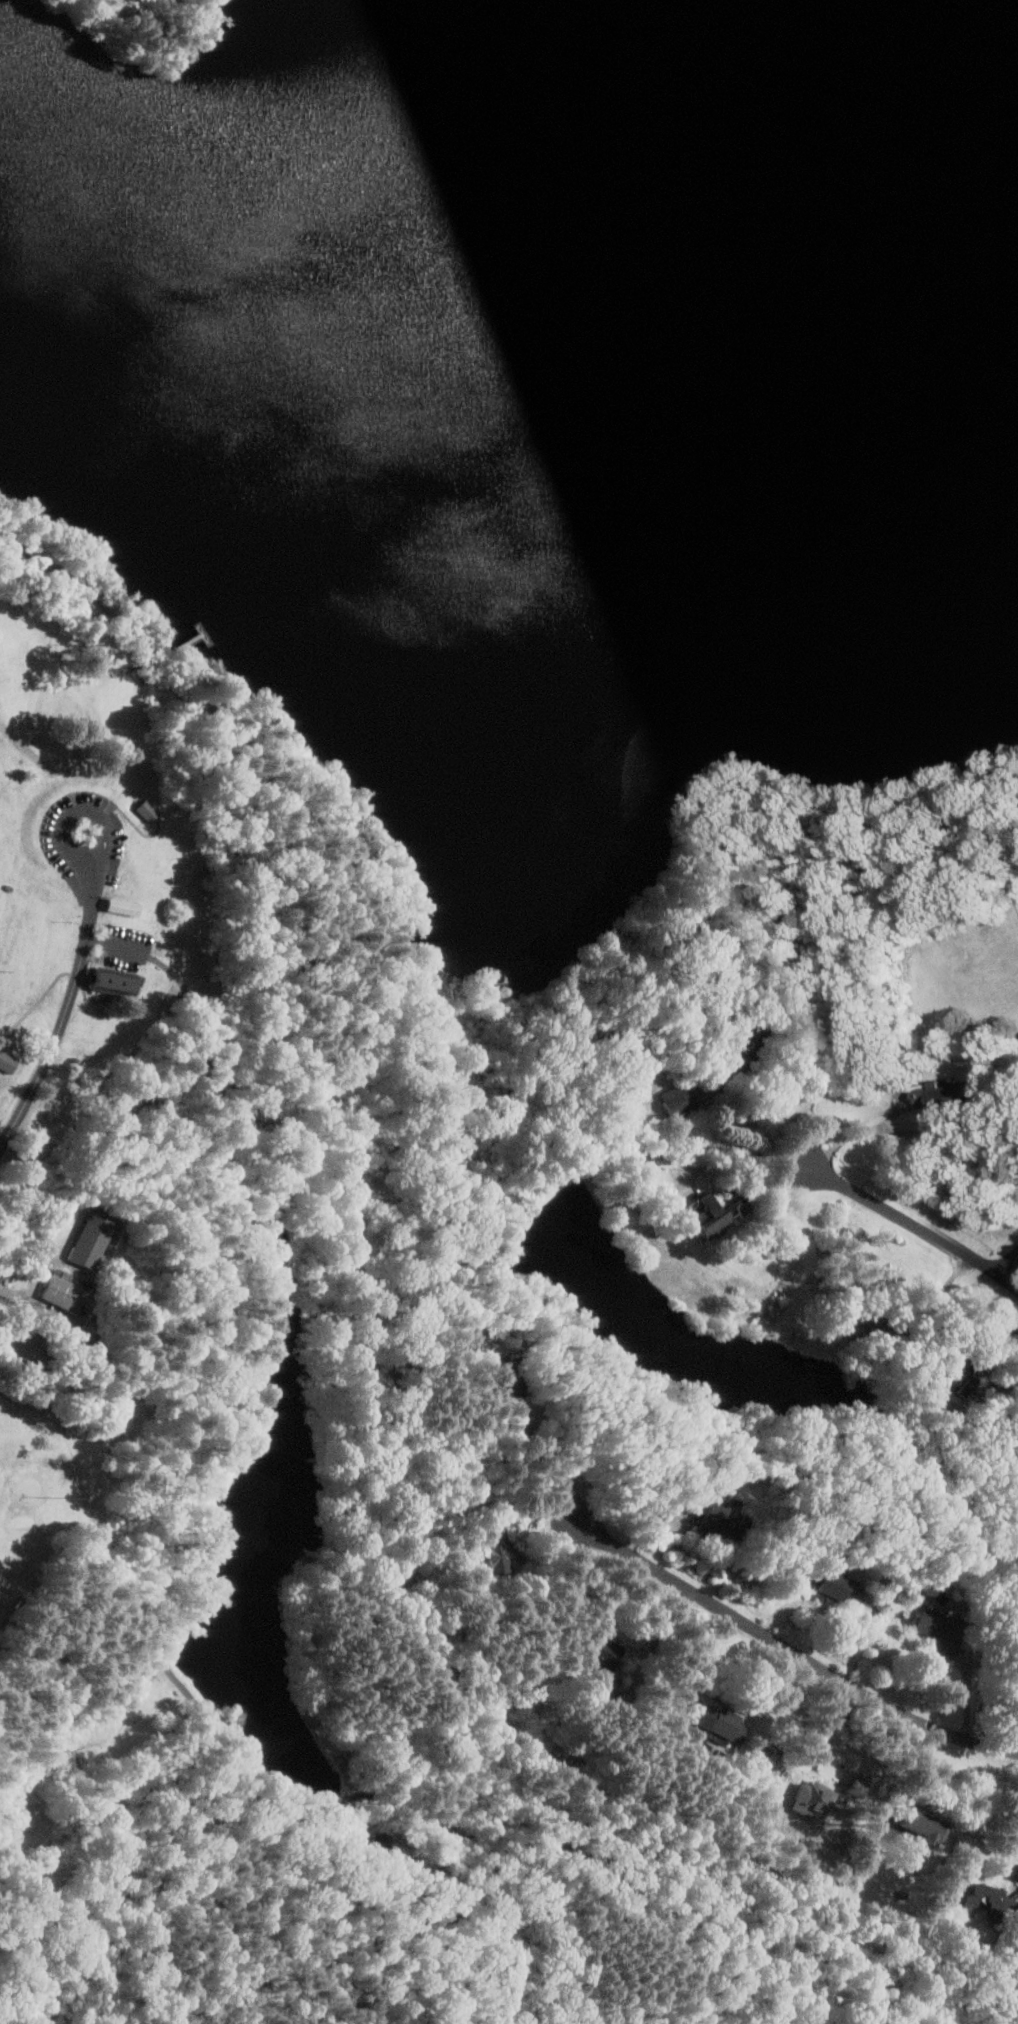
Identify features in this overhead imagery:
road: (128, 629)
building: (151, 811)
road: (82, 812)
parking lot: (50, 829)
road: (250, 892)
building: (123, 906)
road: (120, 946)
parking lot: (125, 948)
building: (110, 980)
road: (195, 1004)
road: (66, 1016)
road: (550, 1039)
road: (241, 1049)
building: (8, 1061)
building: (677, 1098)
road: (856, 1133)
road: (735, 1142)
building: (715, 1213)
park: (160, 1219)
road: (913, 1227)
building: (90, 1240)
road: (1007, 1265)
building: (65, 1289)
road: (936, 1300)
road: (39, 1312)
road: (1000, 1380)
building: (961, 1383)
building: (510, 1390)
road: (566, 1456)
park: (36, 1496)
building: (723, 1518)
building: (836, 1588)
road: (743, 1621)
building: (941, 1631)
road: (659, 1638)
building: (606, 1651)
road: (708, 1656)
building: (720, 1723)
road: (963, 1738)
road: (252, 1762)
road: (912, 1772)
building: (923, 1824)
building: (975, 1899)
road: (933, 2014)

